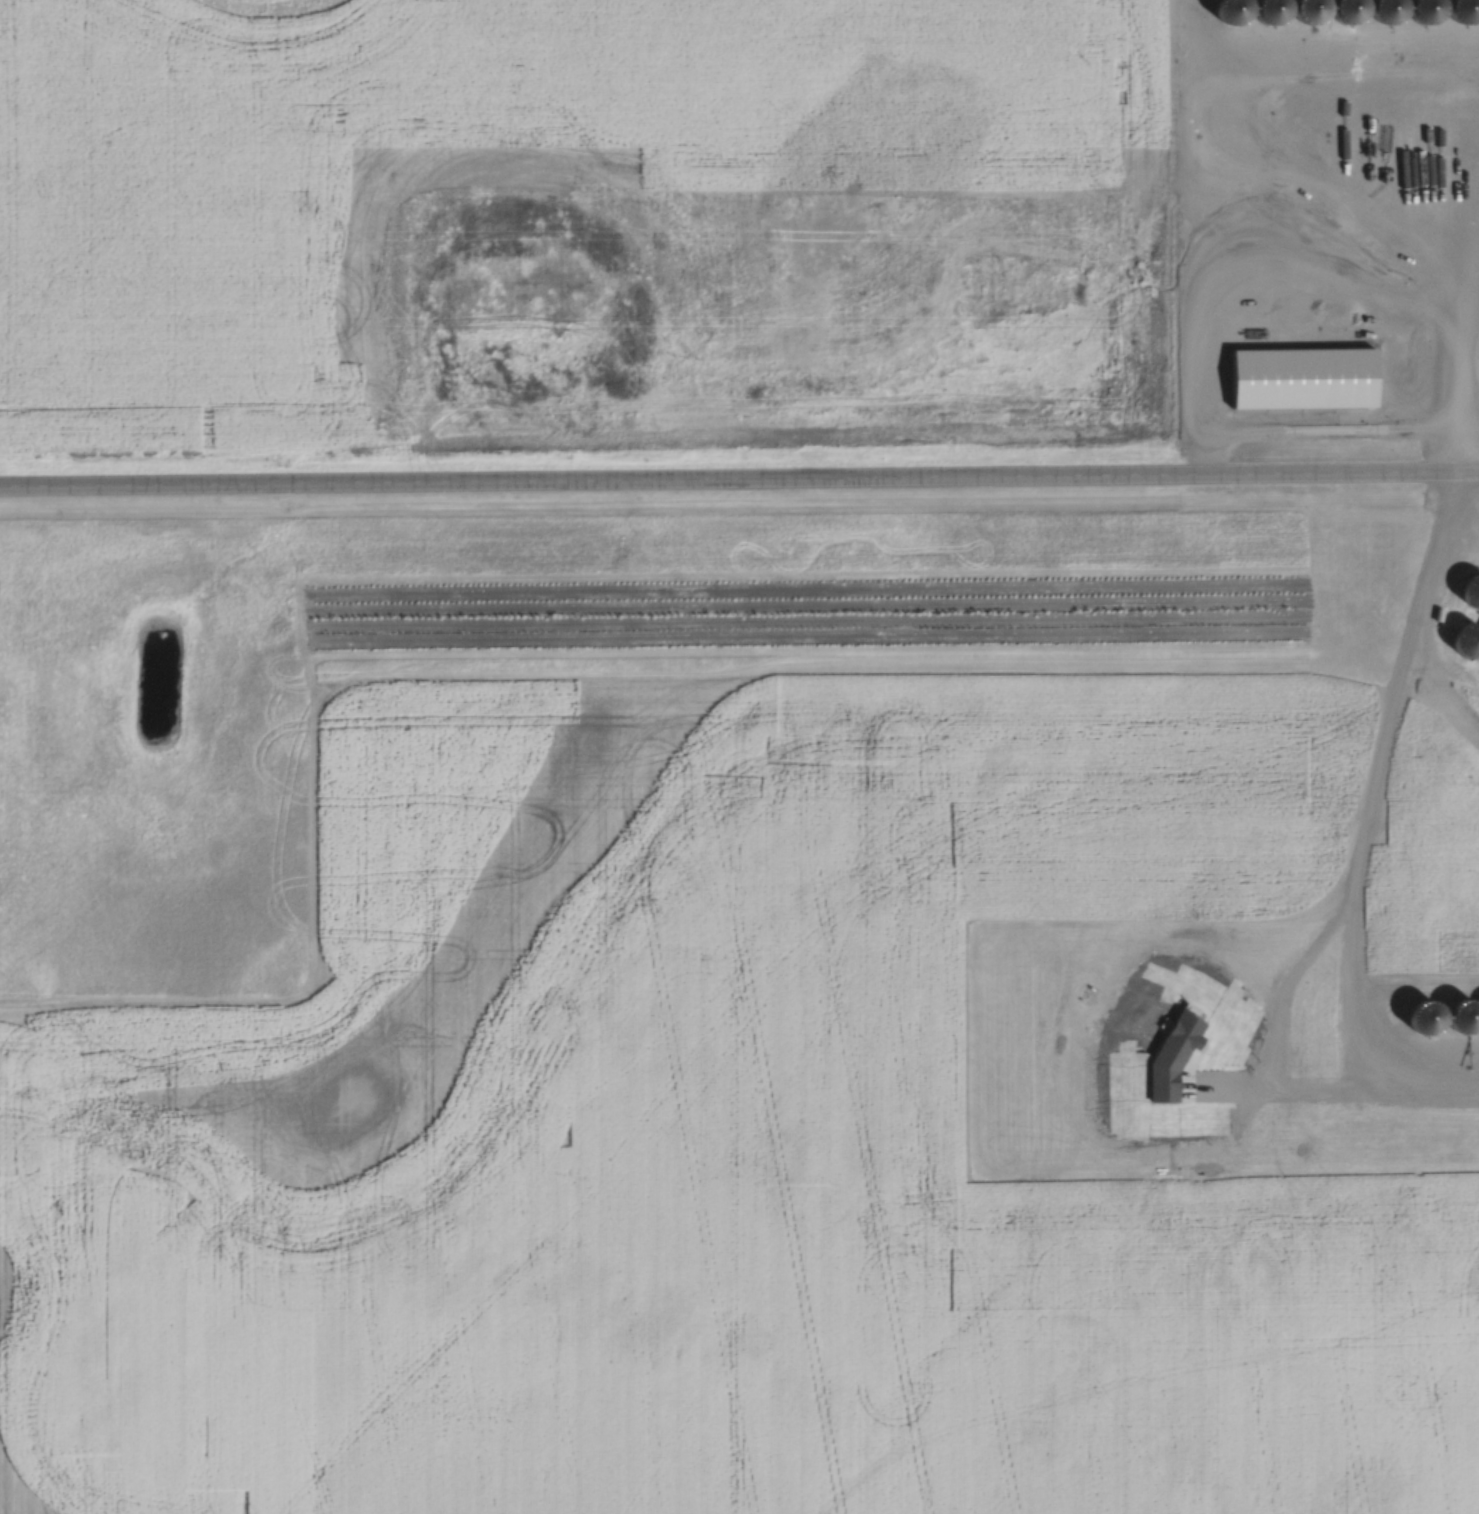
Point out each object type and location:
road: (739, 474)
building: (1473, 590)
building: (1469, 639)

